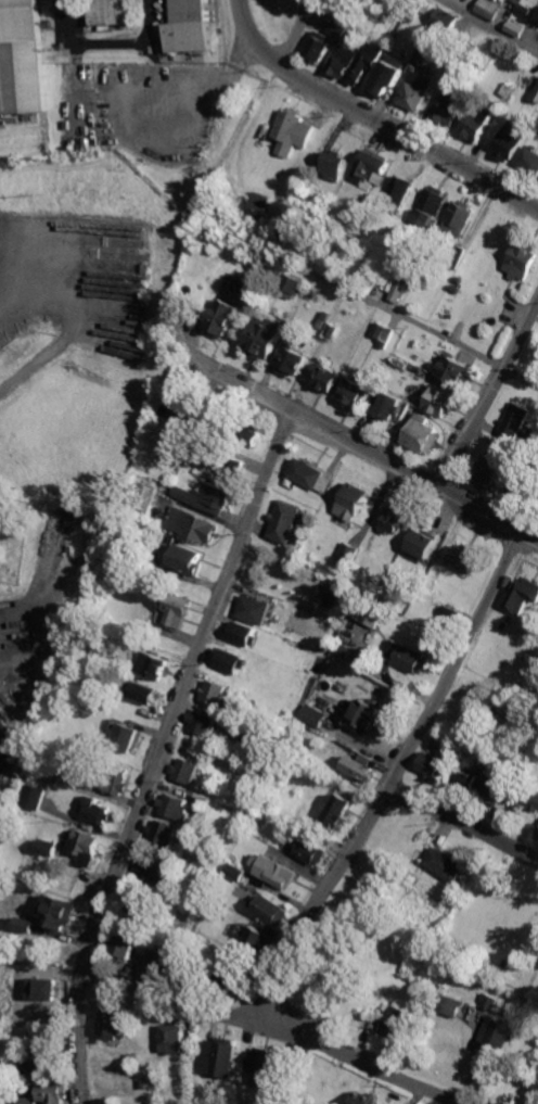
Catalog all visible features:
building: (495, 0)
building: (488, 9)
building: (111, 11)
building: (444, 20)
building: (189, 26)
road: (488, 26)
building: (336, 28)
building: (515, 28)
road: (294, 34)
road: (251, 38)
road: (110, 42)
building: (315, 47)
building: (22, 56)
building: (341, 61)
building: (363, 62)
building: (384, 75)
road: (196, 85)
building: (413, 90)
building: (536, 94)
building: (446, 109)
building: (474, 124)
building: (291, 130)
road: (409, 137)
building: (510, 141)
building: (529, 160)
building: (334, 165)
building: (372, 168)
building: (401, 188)
building: (258, 205)
building: (430, 206)
building: (458, 217)
road: (15, 249)
building: (522, 261)
building: (293, 283)
road: (20, 290)
building: (222, 318)
road: (410, 318)
road: (71, 332)
building: (264, 340)
building: (291, 360)
building: (456, 369)
road: (520, 376)
building: (324, 378)
building: (353, 393)
road: (487, 394)
building: (439, 401)
building: (389, 405)
building: (178, 411)
building: (514, 420)
building: (247, 434)
building: (422, 434)
road: (375, 455)
building: (232, 467)
building: (488, 471)
building: (309, 474)
building: (514, 488)
building: (206, 497)
building: (353, 502)
building: (394, 520)
building: (284, 521)
building: (193, 524)
building: (421, 545)
building: (346, 556)
building: (462, 558)
building: (187, 559)
building: (330, 591)
building: (522, 594)
road: (42, 597)
building: (175, 609)
building: (253, 609)
building: (448, 612)
building: (368, 613)
building: (242, 633)
building: (407, 657)
building: (230, 660)
building: (153, 664)
building: (215, 691)
building: (144, 693)
building: (312, 715)
building: (364, 715)
building: (203, 723)
building: (126, 737)
road: (163, 753)
building: (436, 765)
building: (360, 769)
building: (185, 770)
building: (117, 779)
road: (396, 782)
building: (479, 783)
building: (35, 797)
building: (533, 799)
building: (176, 805)
building: (340, 809)
building: (97, 810)
road: (465, 825)
building: (166, 833)
building: (87, 846)
building: (48, 847)
building: (311, 850)
building: (445, 863)
building: (152, 871)
building: (277, 871)
building: (236, 872)
building: (273, 909)
building: (57, 911)
building: (24, 924)
building: (261, 939)
building: (124, 946)
building: (163, 963)
building: (232, 976)
building: (41, 988)
building: (450, 1005)
building: (400, 1023)
building: (112, 1024)
road: (274, 1029)
building: (497, 1033)
building: (174, 1039)
building: (220, 1056)
building: (36, 1065)
building: (264, 1067)
building: (53, 1092)
building: (363, 1097)
building: (29, 1100)

